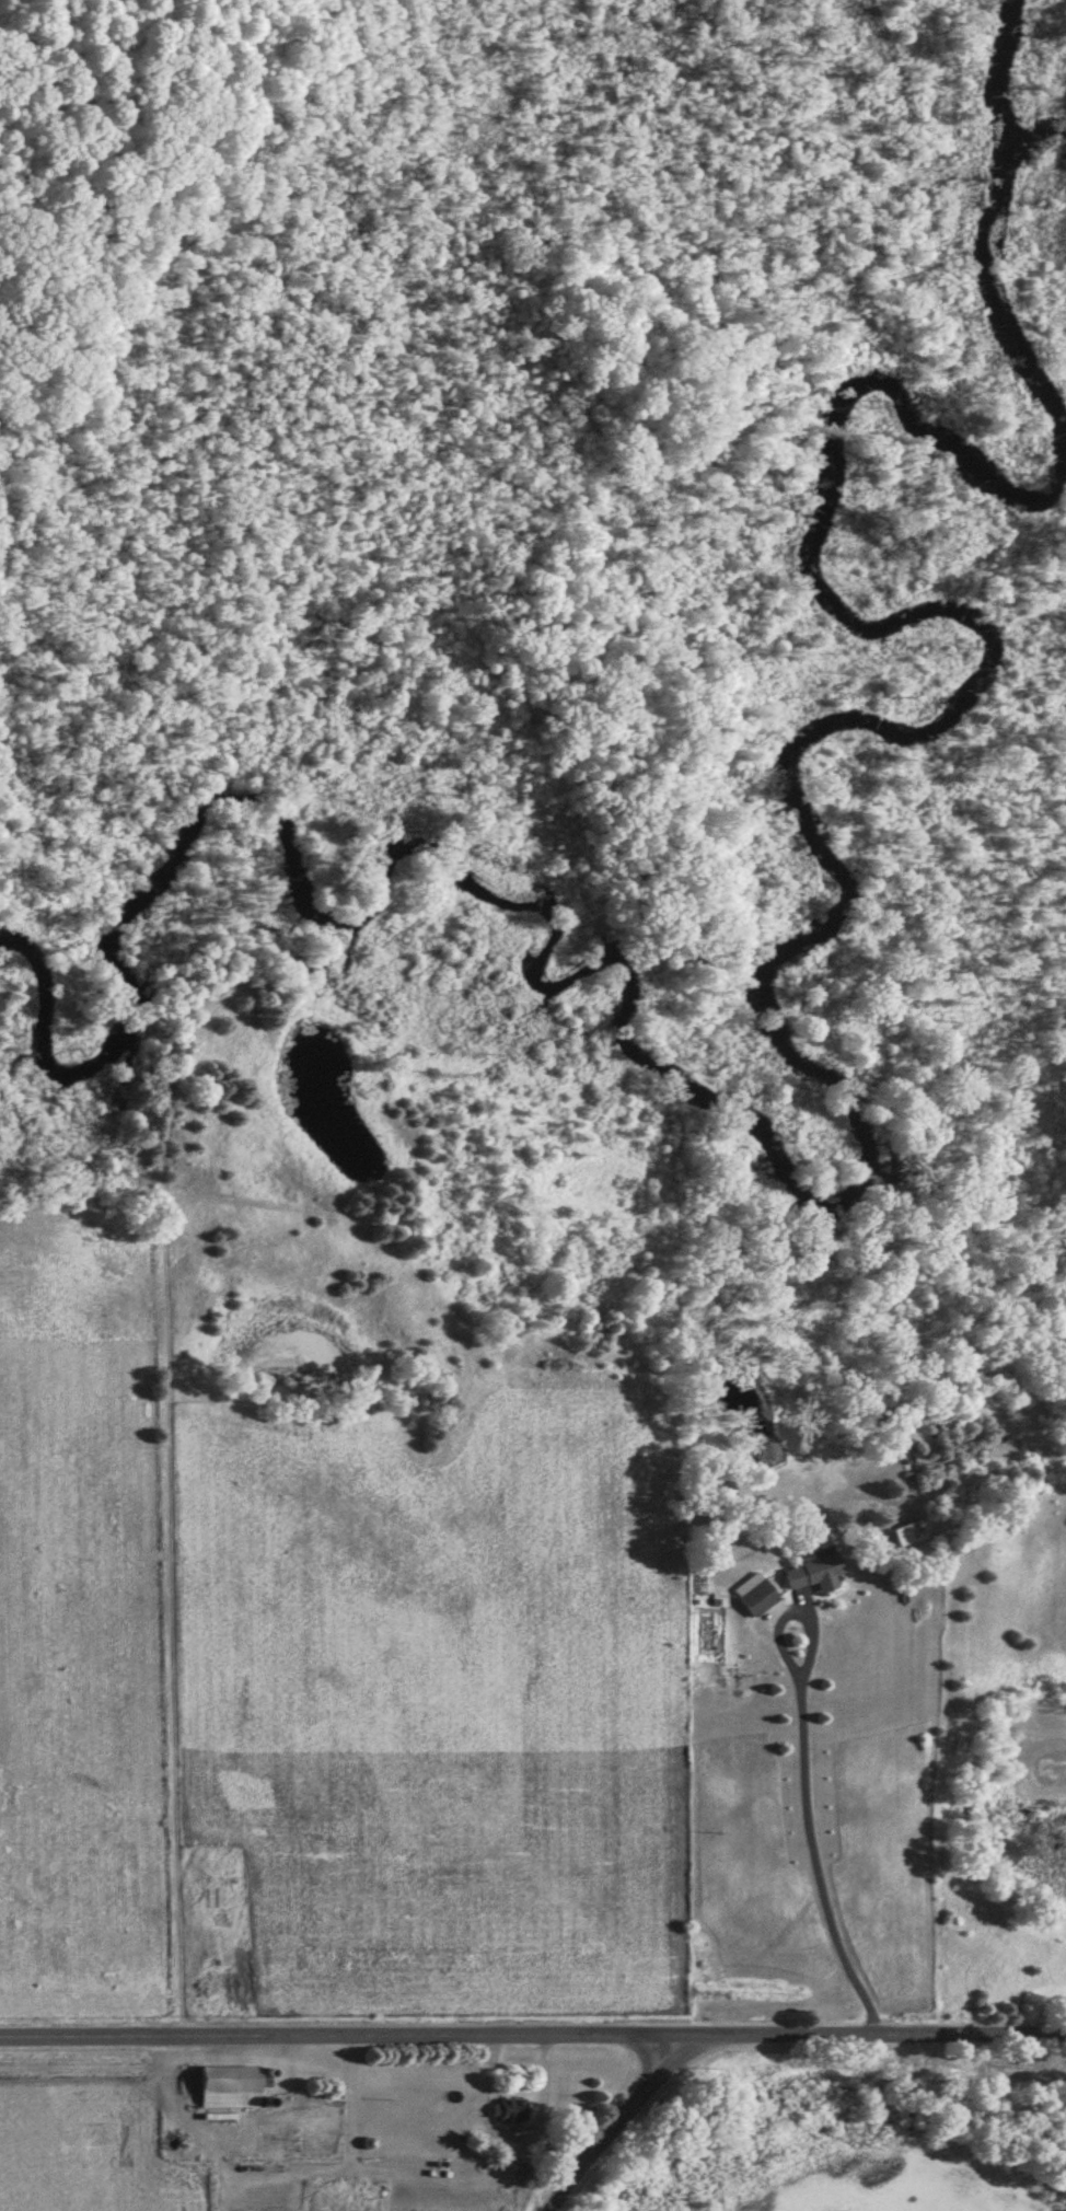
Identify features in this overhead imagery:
river: (1003, 228)
building: (815, 1572)
building: (761, 1599)
road: (533, 2029)
building: (231, 2086)
building: (510, 2109)
road: (604, 2120)

